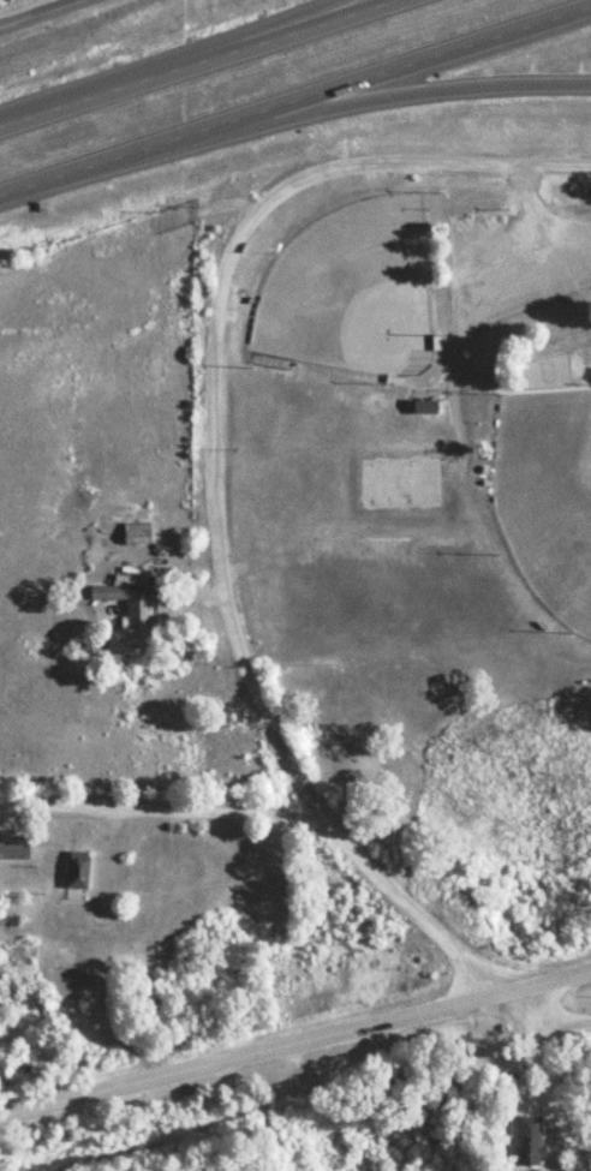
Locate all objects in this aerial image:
road: (31, 10)
road: (280, 22)
road: (192, 55)
road: (424, 90)
road: (295, 98)
road: (448, 165)
park: (359, 289)
building: (424, 406)
road: (220, 485)
park: (549, 491)
building: (136, 533)
building: (108, 592)
building: (139, 614)
road: (161, 805)
building: (13, 848)
building: (76, 870)
road: (482, 969)
road: (555, 1018)
road: (297, 1040)
building: (529, 1141)

